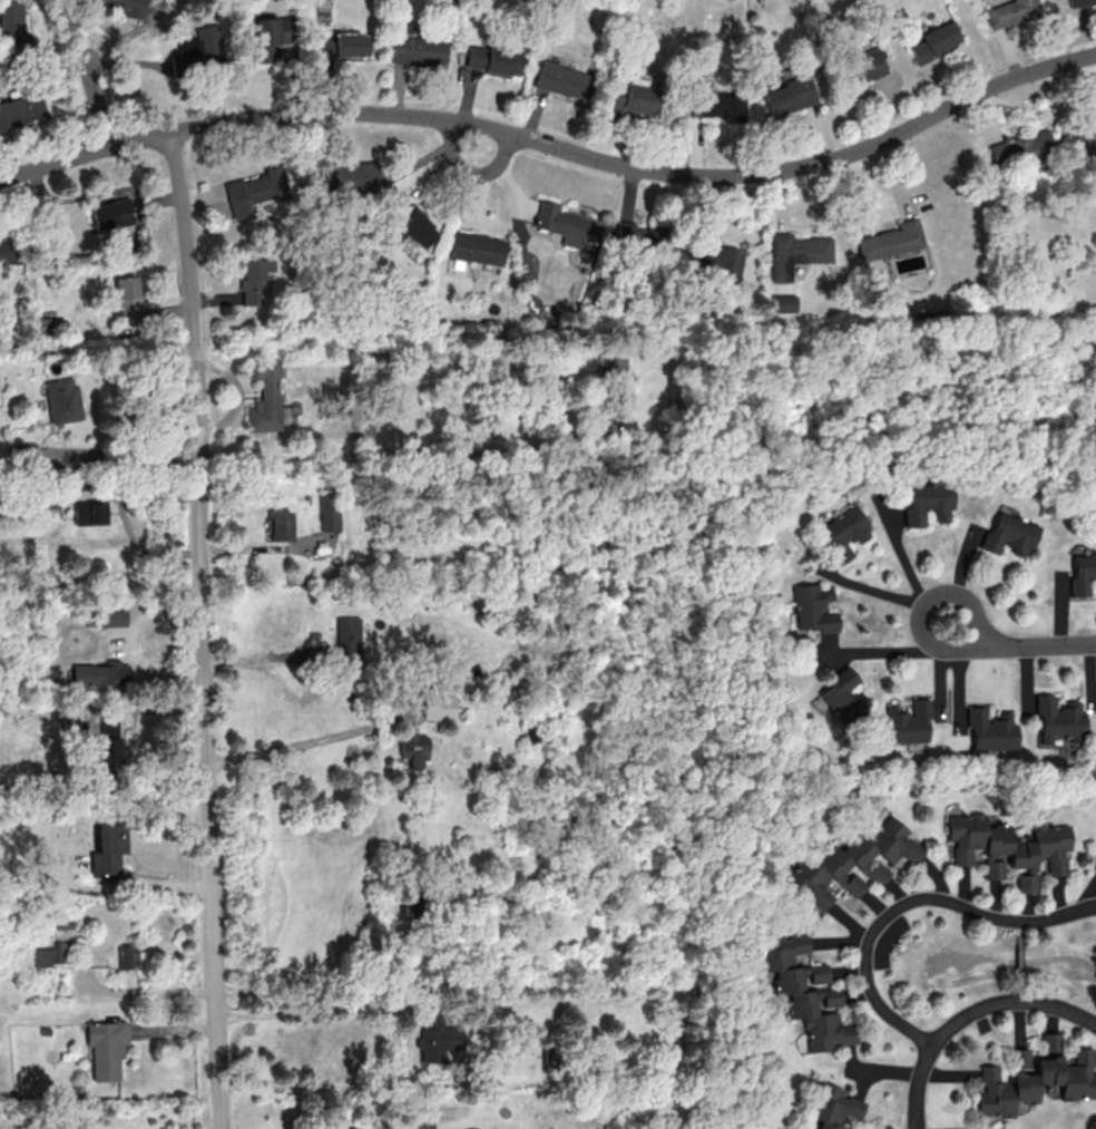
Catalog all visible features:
building: (1079, 1)
building: (125, 6)
building: (1016, 13)
building: (11, 26)
building: (268, 36)
building: (936, 40)
building: (344, 46)
building: (202, 47)
building: (418, 50)
building: (493, 60)
building: (863, 66)
building: (562, 80)
building: (787, 95)
building: (632, 97)
road: (98, 104)
building: (715, 106)
building: (21, 109)
building: (1086, 144)
road: (554, 147)
building: (1021, 149)
building: (345, 177)
building: (254, 191)
building: (110, 213)
building: (566, 223)
building: (414, 226)
building: (633, 234)
building: (893, 243)
building: (478, 247)
building: (10, 251)
building: (799, 254)
building: (716, 262)
building: (254, 281)
building: (128, 299)
building: (784, 303)
building: (614, 369)
building: (264, 393)
building: (61, 399)
building: (287, 413)
building: (23, 451)
road: (391, 452)
road: (128, 457)
building: (929, 505)
building: (89, 512)
building: (329, 512)
road: (124, 516)
building: (280, 525)
building: (843, 533)
building: (1011, 537)
road: (264, 548)
road: (912, 573)
building: (1084, 578)
building: (814, 607)
building: (112, 615)
road: (203, 630)
building: (348, 638)
road: (1018, 644)
road: (894, 652)
road: (266, 656)
road: (40, 671)
building: (100, 673)
building: (843, 697)
road: (143, 707)
building: (1060, 720)
building: (907, 723)
building: (992, 732)
building: (108, 742)
road: (301, 749)
building: (413, 749)
building: (107, 847)
building: (1007, 848)
building: (851, 862)
building: (1094, 865)
road: (909, 904)
building: (41, 951)
building: (127, 956)
road: (306, 983)
building: (803, 991)
road: (300, 1012)
road: (970, 1014)
building: (439, 1038)
building: (1049, 1041)
building: (105, 1048)
building: (1034, 1081)
building: (832, 1107)
road: (311, 1117)
road: (413, 1128)
building: (508, 1128)
road: (912, 1128)
road: (913, 1128)

